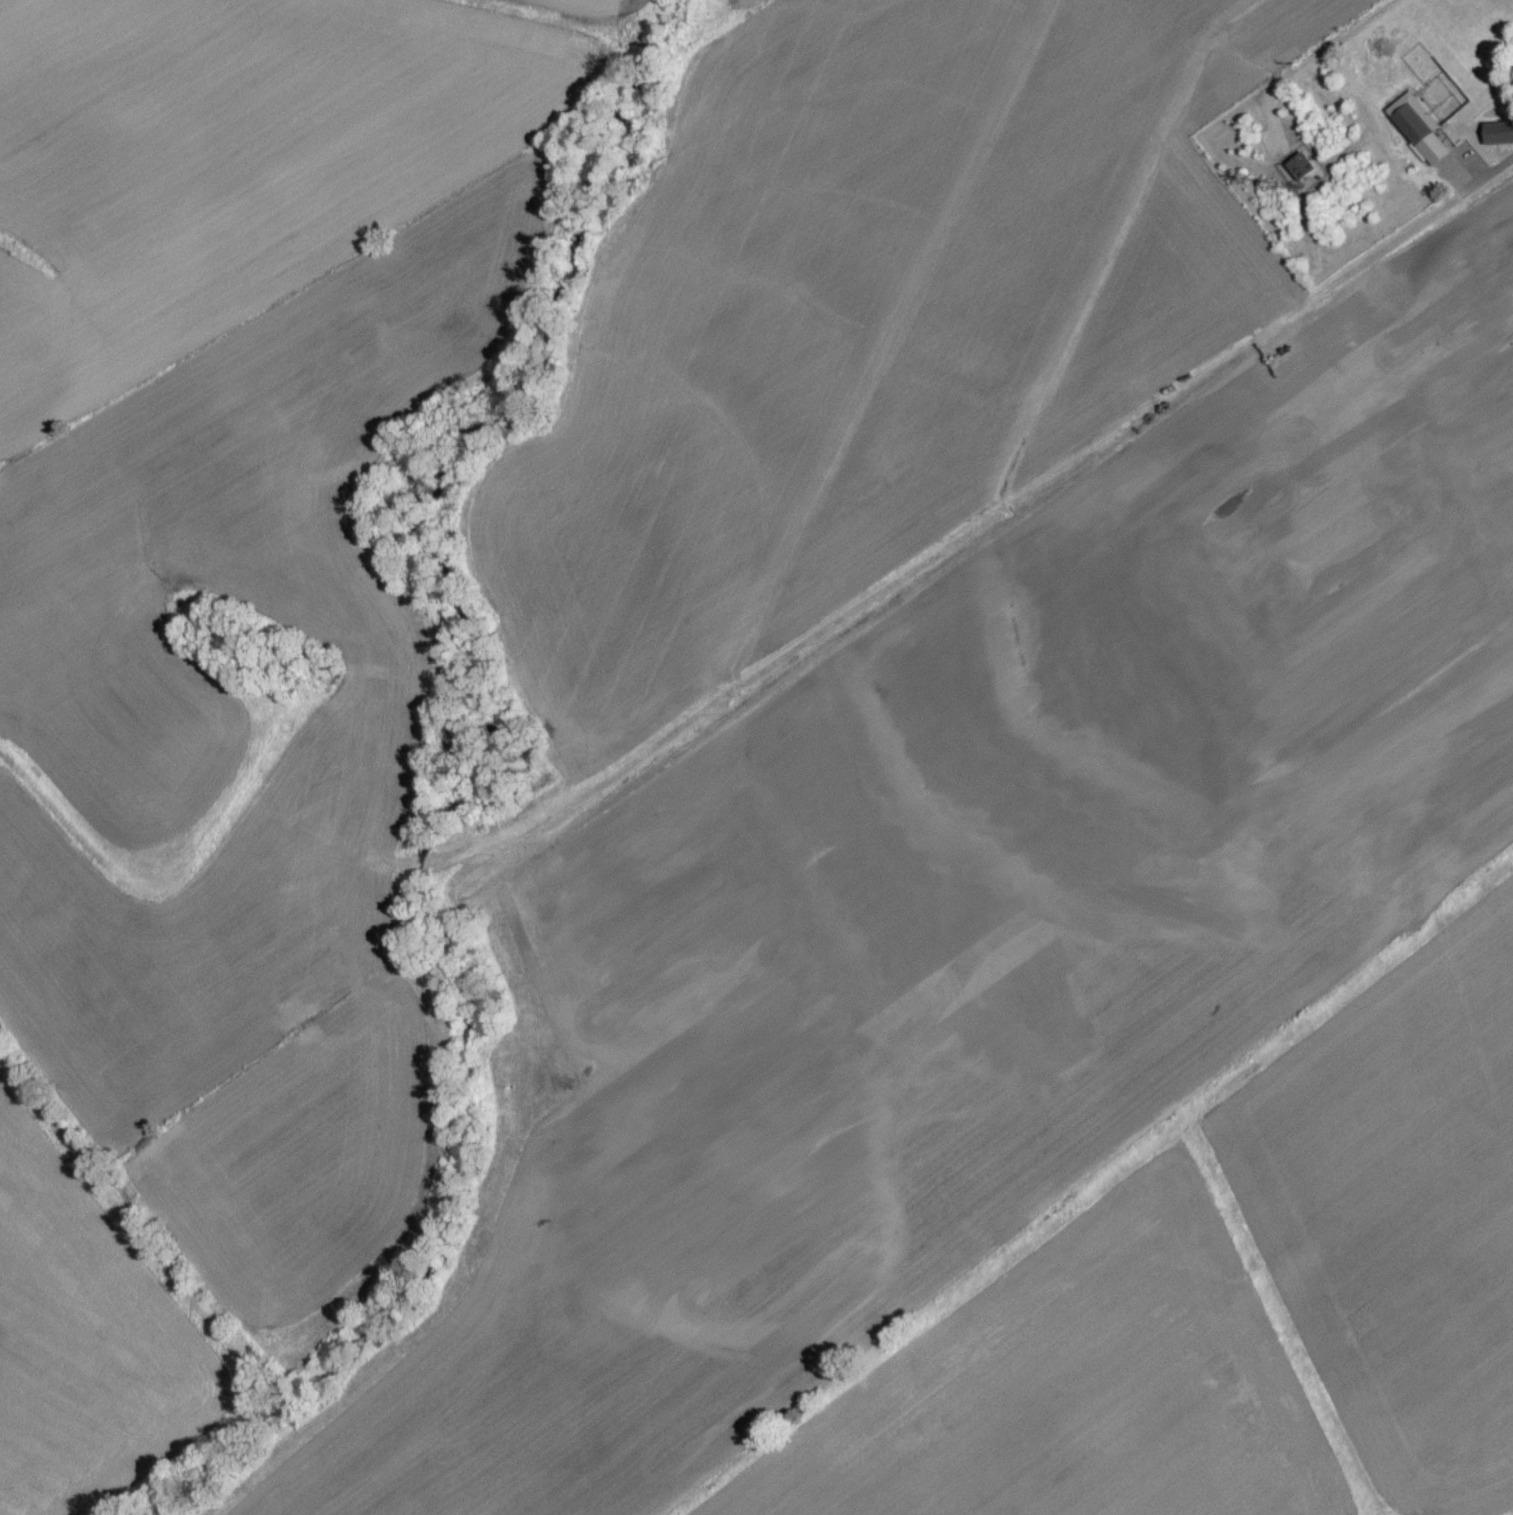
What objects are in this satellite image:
building: (1412, 130)
building: (1498, 138)
road: (1488, 170)
building: (1301, 172)

